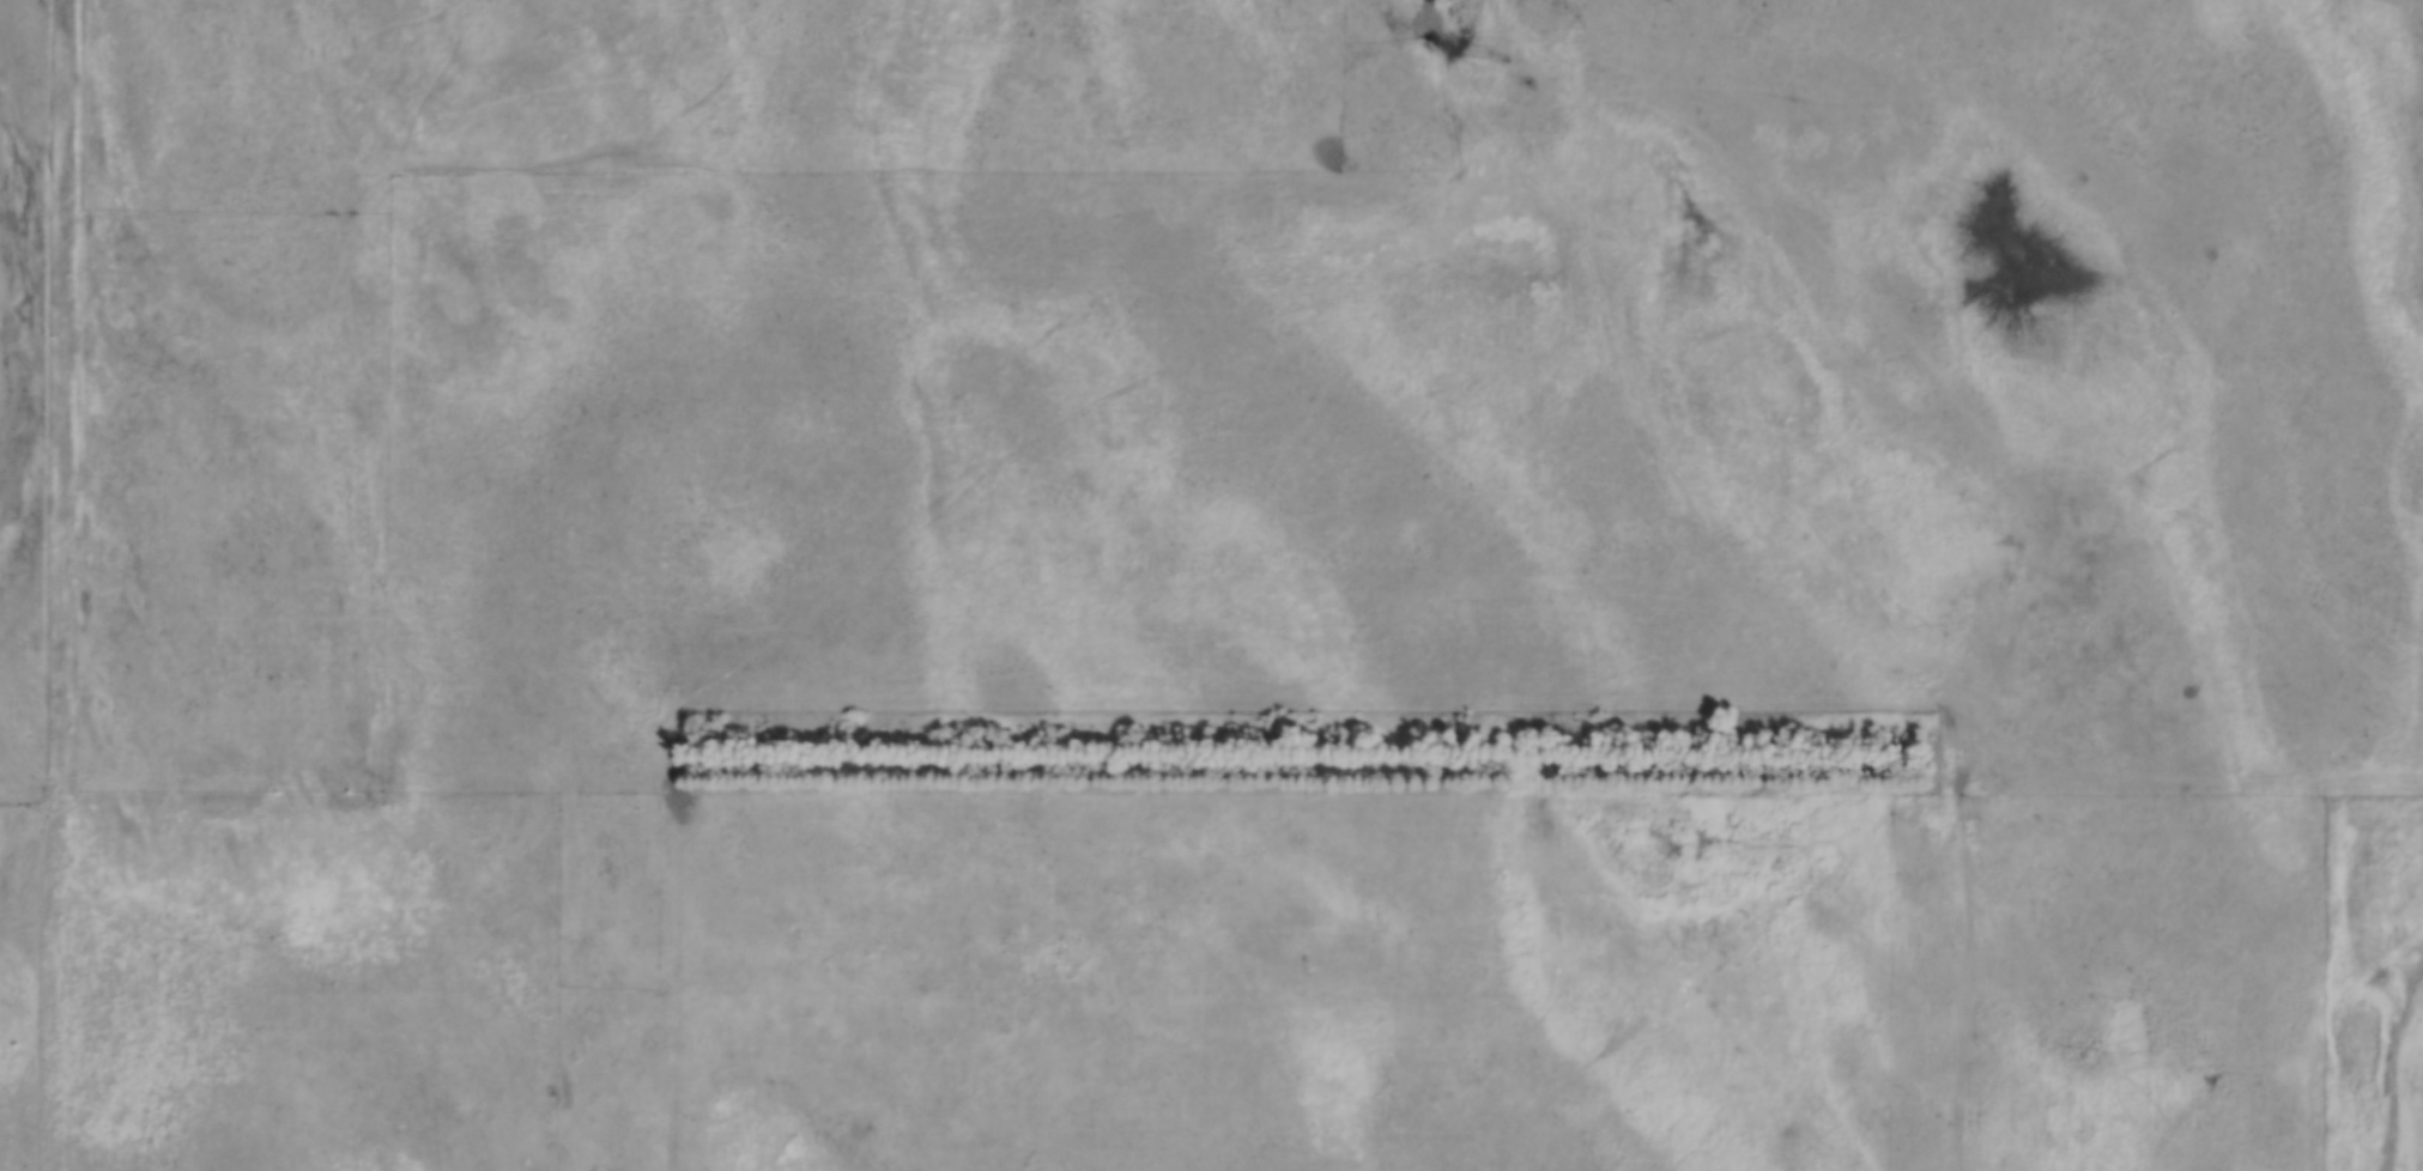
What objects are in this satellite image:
road: (2340, 987)

